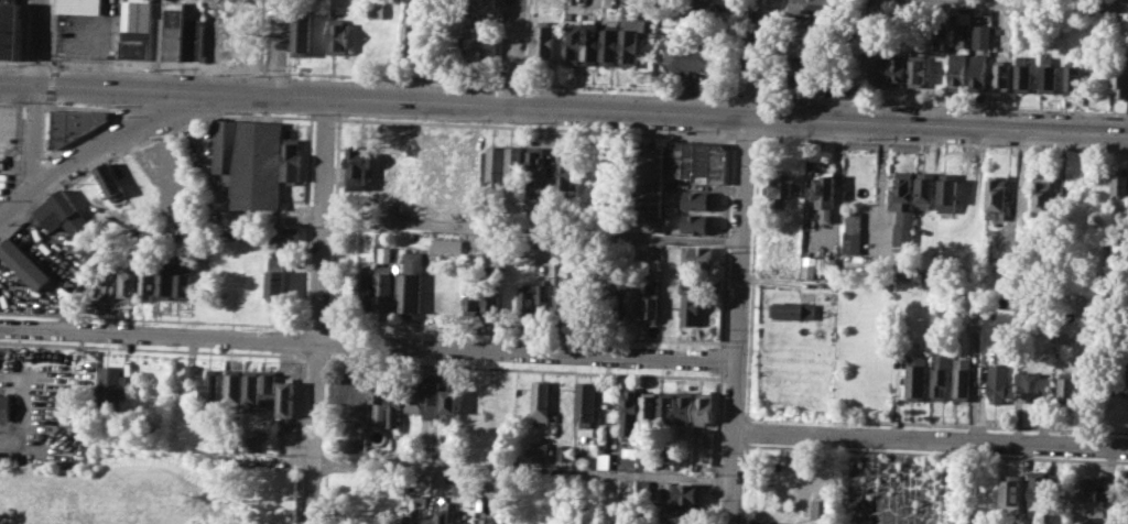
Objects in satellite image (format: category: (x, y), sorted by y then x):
road: (1023, 3)
building: (79, 7)
building: (812, 7)
building: (482, 8)
building: (377, 10)
building: (701, 10)
building: (809, 26)
building: (10, 29)
building: (137, 29)
building: (174, 30)
road: (22, 31)
road: (51, 33)
building: (211, 35)
building: (241, 35)
road: (262, 35)
road: (290, 36)
building: (303, 36)
building: (339, 36)
building: (193, 37)
building: (411, 39)
building: (981, 39)
building: (474, 41)
road: (498, 41)
building: (592, 41)
building: (609, 41)
road: (528, 42)
building: (573, 42)
building: (631, 42)
road: (39, 43)
building: (546, 44)
road: (156, 46)
road: (731, 47)
road: (763, 47)
building: (804, 47)
road: (275, 48)
road: (513, 53)
building: (688, 56)
road: (749, 57)
road: (12, 61)
road: (864, 61)
road: (34, 62)
road: (155, 65)
building: (803, 68)
building: (957, 69)
road: (274, 70)
building: (877, 70)
building: (897, 70)
building: (916, 70)
building: (977, 70)
building: (1022, 74)
building: (1046, 74)
building: (1000, 75)
building: (1072, 75)
building: (1119, 76)
road: (392, 77)
road: (50, 84)
road: (510, 84)
road: (628, 88)
building: (803, 88)
road: (102, 90)
road: (747, 92)
road: (12, 101)
road: (34, 102)
road: (942, 103)
road: (48, 105)
road: (89, 106)
road: (169, 111)
road: (668, 112)
road: (729, 113)
road: (325, 118)
building: (73, 124)
road: (534, 127)
road: (729, 132)
road: (744, 133)
road: (34, 134)
road: (118, 135)
road: (142, 141)
road: (942, 141)
road: (66, 144)
building: (250, 160)
building: (292, 160)
building: (699, 161)
building: (496, 163)
building: (514, 164)
building: (535, 164)
building: (359, 167)
building: (567, 173)
building: (431, 177)
building: (649, 179)
building: (111, 181)
building: (1119, 183)
building: (780, 186)
building: (926, 188)
building: (948, 192)
building: (825, 195)
building: (903, 197)
building: (996, 197)
building: (1042, 197)
building: (701, 199)
road: (17, 200)
building: (67, 218)
building: (699, 222)
building: (854, 231)
road: (533, 232)
building: (284, 236)
building: (904, 236)
building: (447, 243)
building: (1120, 252)
building: (386, 253)
building: (701, 258)
building: (279, 261)
building: (23, 263)
building: (821, 264)
building: (129, 281)
building: (166, 281)
building: (148, 282)
building: (184, 282)
building: (276, 284)
building: (411, 284)
building: (383, 287)
building: (365, 288)
building: (349, 290)
building: (509, 293)
building: (473, 296)
building: (528, 299)
building: (544, 299)
building: (563, 299)
building: (490, 301)
building: (652, 302)
building: (671, 303)
building: (618, 304)
building: (634, 305)
building: (691, 306)
building: (793, 309)
road: (319, 312)
road: (153, 318)
road: (739, 319)
road: (315, 327)
road: (626, 337)
road: (369, 342)
building: (1091, 357)
building: (191, 372)
building: (918, 376)
building: (942, 378)
building: (964, 378)
building: (112, 383)
building: (1000, 383)
building: (1035, 384)
building: (210, 385)
building: (234, 385)
building: (250, 385)
building: (269, 386)
building: (1069, 387)
building: (413, 395)
building: (286, 396)
building: (358, 396)
building: (431, 396)
building: (506, 397)
building: (379, 400)
building: (541, 400)
building: (394, 402)
building: (449, 404)
building: (4, 406)
building: (584, 406)
building: (705, 406)
building: (650, 407)
building: (668, 407)
building: (685, 407)
building: (630, 408)
building: (448, 438)
road: (932, 440)
road: (0, 441)
building: (251, 445)
building: (630, 449)
building: (540, 450)
building: (564, 452)
building: (662, 452)
road: (468, 467)
building: (462, 483)
building: (1038, 488)
parking lot: (898, 489)
building: (1056, 489)
building: (688, 492)
building: (1012, 492)
building: (1093, 498)
building: (820, 507)
road: (21, 510)
building: (442, 513)
building: (686, 514)
building: (495, 522)
building: (623, 522)
building: (768, 523)

